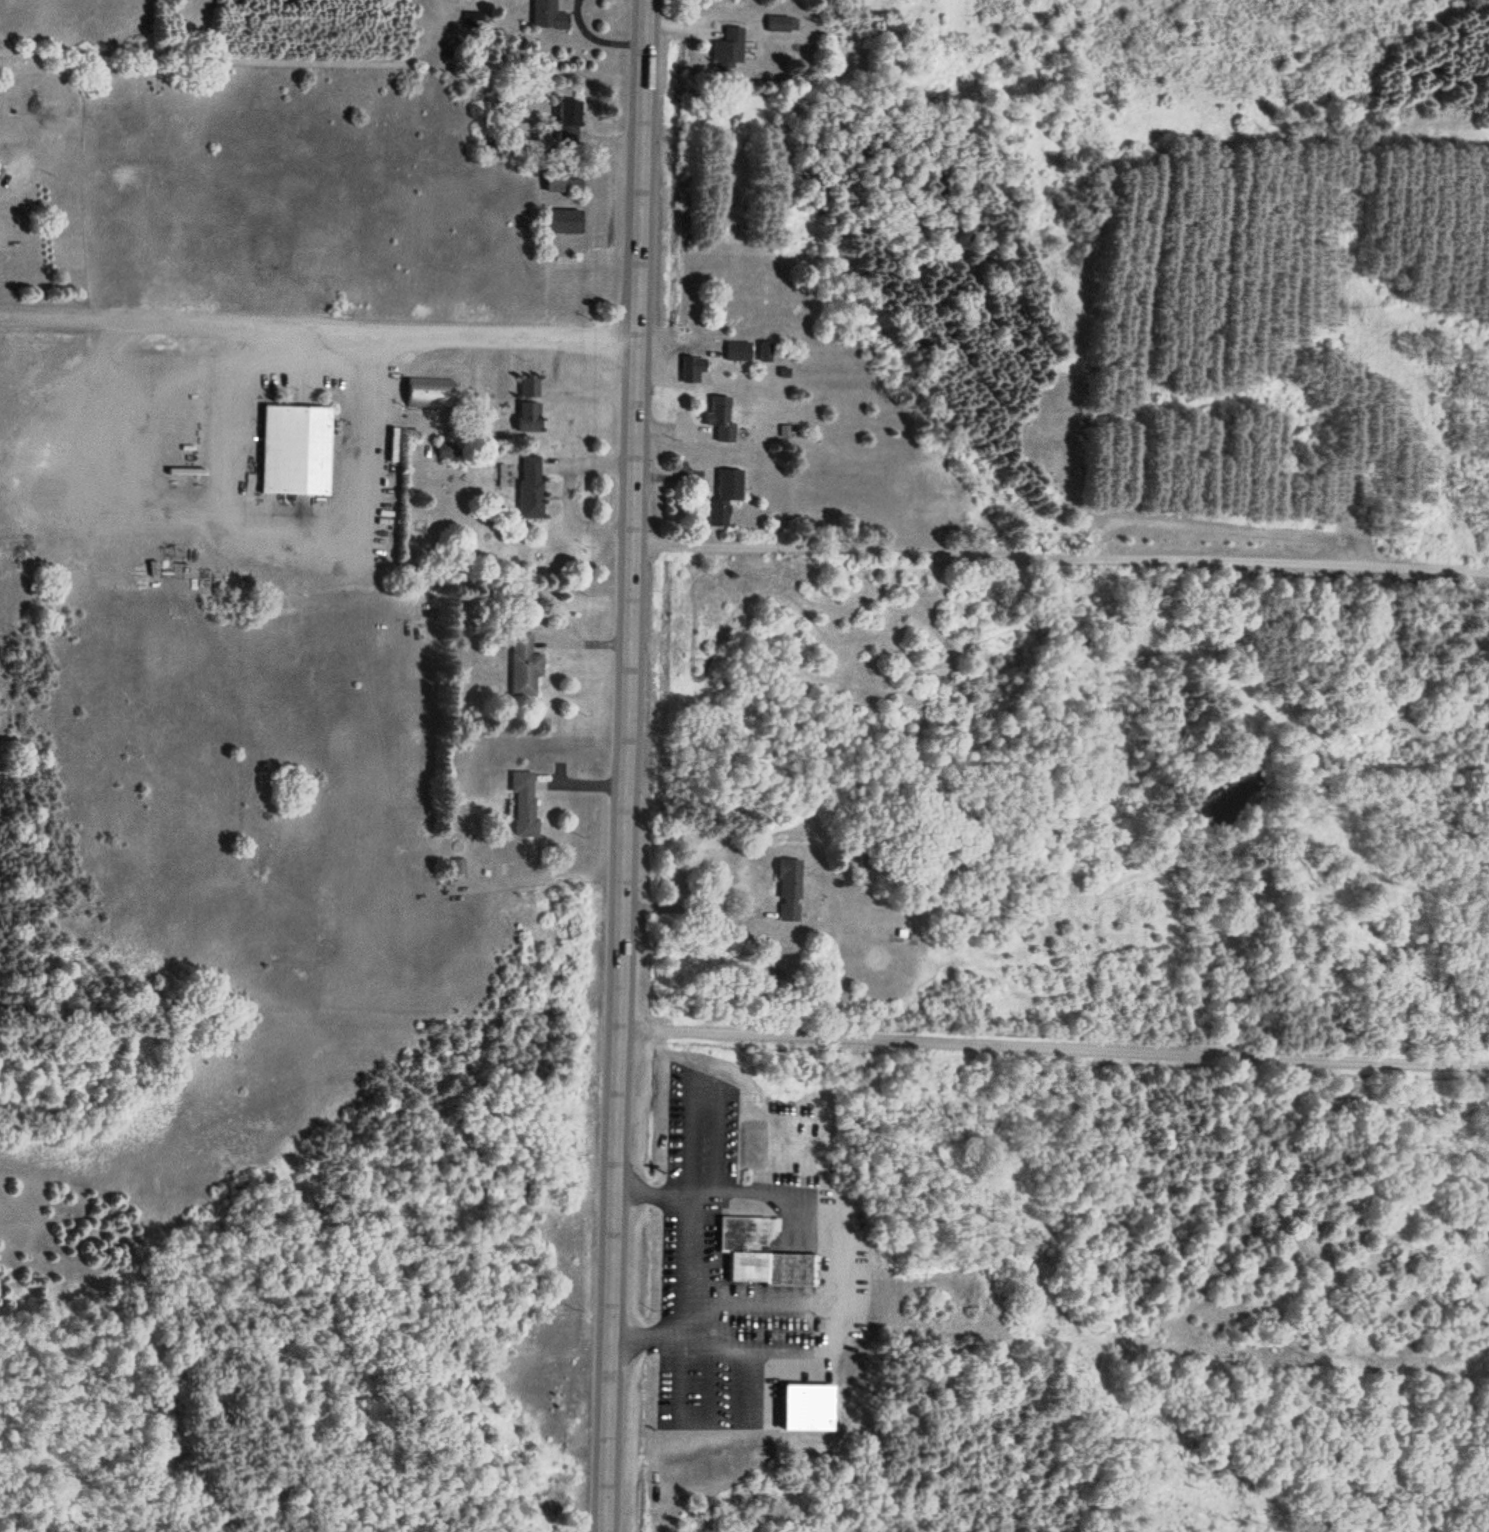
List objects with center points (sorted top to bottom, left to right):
building: (550, 16)
building: (780, 24)
building: (729, 50)
building: (39, 110)
building: (561, 185)
building: (563, 221)
road: (315, 325)
building: (739, 351)
building: (765, 352)
building: (695, 370)
building: (430, 394)
building: (530, 405)
building: (721, 411)
building: (298, 450)
building: (530, 488)
building: (723, 497)
building: (524, 665)
road: (621, 765)
building: (525, 804)
building: (788, 891)
road: (1053, 1043)
building: (743, 1235)
building: (771, 1268)

